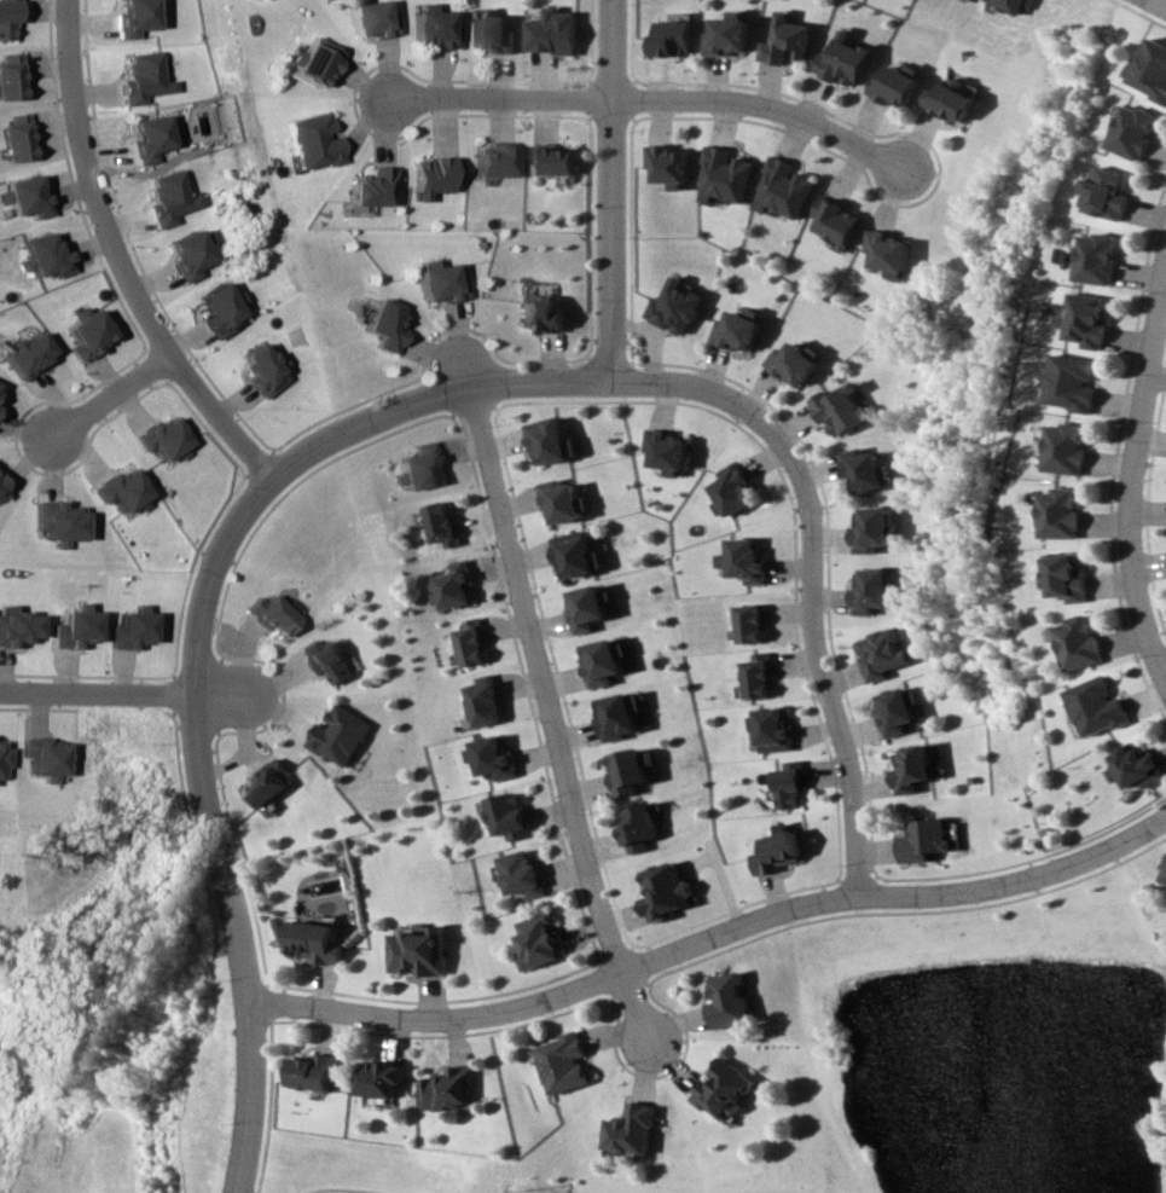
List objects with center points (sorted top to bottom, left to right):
road: (1158, 4)
building: (1013, 5)
building: (10, 17)
building: (130, 17)
building: (371, 19)
building: (434, 27)
building: (493, 33)
building: (553, 33)
building: (729, 34)
building: (674, 37)
building: (787, 40)
building: (313, 60)
building: (843, 60)
building: (1150, 69)
building: (12, 76)
building: (139, 77)
building: (897, 83)
building: (951, 99)
road: (652, 105)
building: (1131, 131)
building: (19, 137)
building: (147, 137)
building: (312, 141)
building: (553, 158)
building: (494, 160)
building: (671, 164)
building: (435, 175)
building: (725, 175)
building: (372, 186)
building: (784, 187)
road: (615, 189)
building: (1106, 193)
building: (30, 196)
building: (167, 198)
building: (835, 220)
building: (888, 253)
building: (48, 255)
road: (133, 255)
building: (187, 255)
building: (1097, 257)
building: (442, 280)
building: (674, 307)
building: (219, 309)
building: (541, 313)
building: (1086, 319)
building: (385, 325)
building: (738, 330)
building: (86, 334)
building: (27, 354)
building: (795, 361)
building: (262, 370)
road: (533, 382)
building: (1073, 382)
road: (117, 395)
building: (841, 407)
building: (161, 438)
building: (550, 440)
building: (1067, 447)
building: (668, 451)
road: (1138, 456)
building: (422, 467)
building: (864, 469)
building: (120, 490)
building: (2, 491)
building: (731, 491)
building: (563, 500)
building: (1061, 514)
building: (57, 521)
building: (439, 525)
building: (870, 529)
building: (576, 554)
building: (741, 560)
building: (1068, 577)
building: (452, 585)
building: (870, 591)
building: (587, 608)
building: (275, 614)
building: (747, 622)
building: (13, 626)
building: (69, 627)
building: (127, 627)
building: (468, 642)
building: (1080, 642)
building: (881, 654)
building: (326, 660)
road: (824, 660)
building: (603, 661)
building: (753, 674)
road: (97, 695)
road: (226, 699)
building: (481, 701)
building: (1098, 706)
building: (899, 710)
road: (546, 716)
building: (616, 716)
building: (770, 729)
building: (336, 735)
building: (1, 757)
building: (41, 757)
building: (493, 757)
building: (1136, 768)
building: (913, 769)
building: (627, 770)
building: (265, 783)
building: (788, 784)
road: (208, 815)
building: (505, 815)
building: (638, 827)
building: (927, 840)
building: (778, 850)
building: (522, 874)
building: (1162, 874)
building: (666, 892)
road: (709, 936)
building: (315, 942)
building: (541, 942)
building: (419, 952)
building: (729, 1000)
building: (563, 1062)
building: (313, 1071)
building: (379, 1078)
building: (449, 1088)
building: (723, 1088)
building: (630, 1129)
road: (335, 1191)

